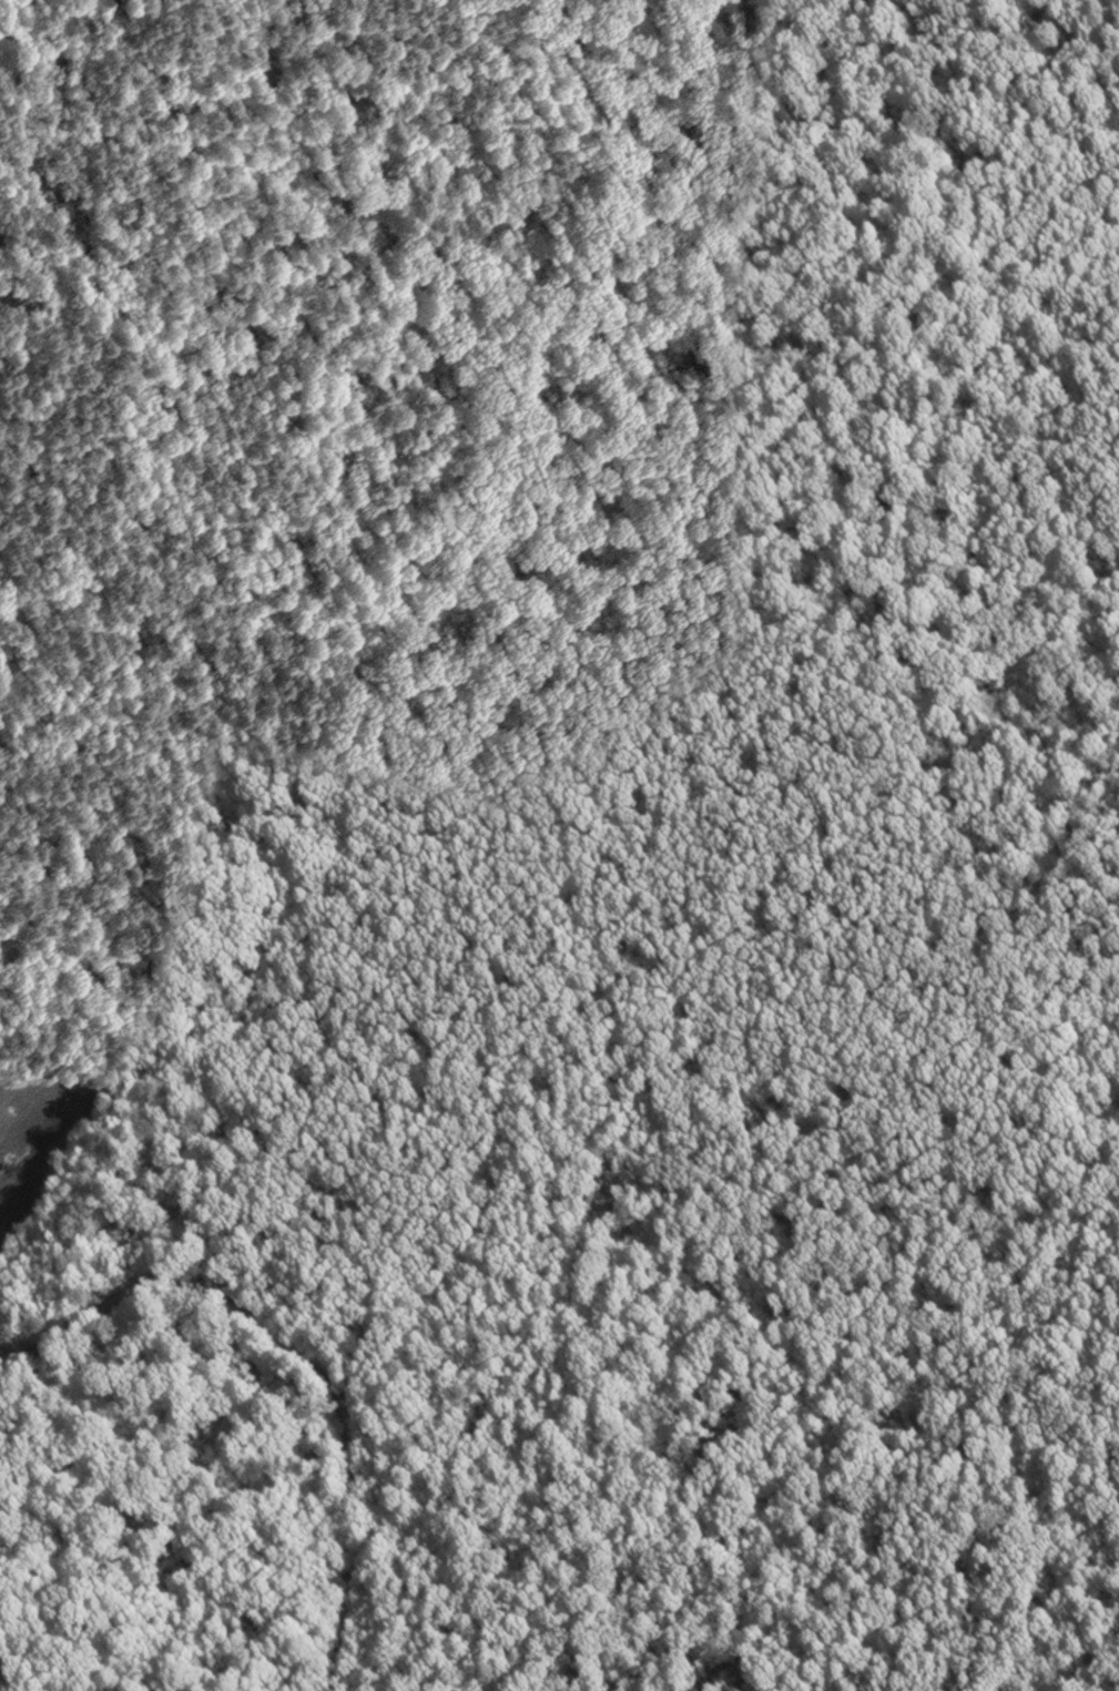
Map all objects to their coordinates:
road: (298, 1359)

